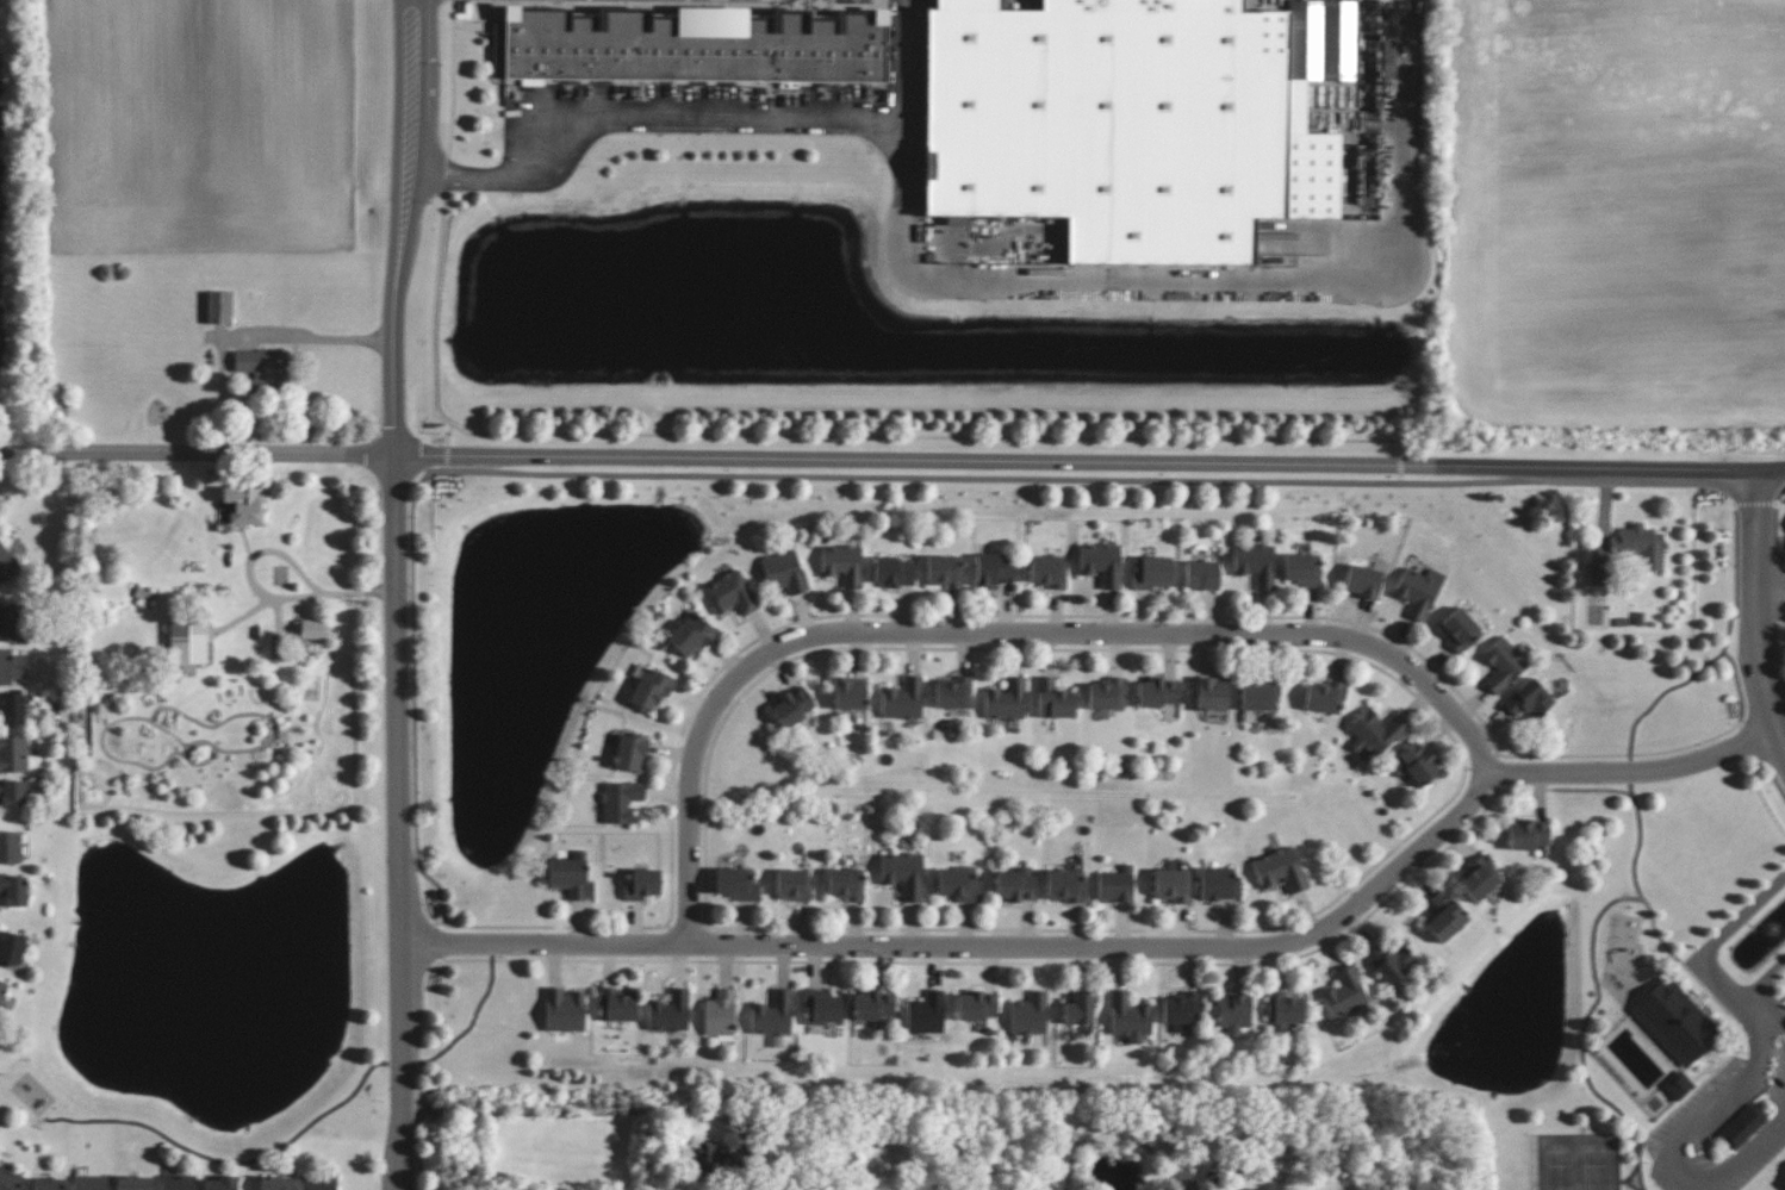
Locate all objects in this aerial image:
road: (404, 13)
road: (422, 13)
building: (696, 46)
road: (453, 89)
road: (912, 99)
road: (645, 116)
building: (1133, 120)
building: (957, 219)
road: (1249, 279)
building: (219, 307)
road: (318, 337)
building: (263, 366)
road: (803, 435)
road: (447, 449)
road: (197, 453)
road: (1077, 463)
road: (1772, 474)
road: (990, 480)
road: (1773, 485)
road: (1730, 487)
road: (1647, 488)
building: (244, 504)
building: (1640, 546)
road: (1733, 556)
building: (842, 563)
building: (1101, 563)
building: (1256, 563)
building: (6, 565)
building: (1302, 569)
building: (945, 571)
building: (994, 571)
building: (1047, 571)
building: (894, 572)
building: (1151, 572)
building: (784, 573)
building: (1202, 574)
building: (1363, 581)
road: (1774, 585)
building: (1418, 591)
road: (266, 593)
building: (730, 593)
road: (398, 606)
road: (411, 615)
road: (1762, 616)
road: (257, 618)
building: (11, 622)
building: (310, 629)
building: (1460, 630)
building: (691, 635)
road: (997, 635)
building: (188, 640)
building: (1503, 663)
building: (12, 666)
building: (649, 687)
building: (850, 692)
building: (1158, 692)
building: (954, 693)
building: (1212, 693)
building: (1108, 694)
building: (1260, 697)
building: (1325, 697)
building: (903, 699)
building: (1055, 699)
building: (1529, 699)
building: (1007, 700)
building: (794, 706)
building: (12, 708)
building: (1374, 734)
road: (1632, 735)
building: (630, 753)
building: (13, 754)
building: (1414, 764)
building: (13, 793)
building: (620, 800)
building: (1528, 834)
building: (10, 847)
building: (1281, 870)
building: (903, 873)
building: (571, 876)
road: (419, 877)
building: (1480, 878)
building: (641, 884)
building: (736, 884)
building: (846, 884)
building: (959, 884)
building: (1219, 884)
building: (794, 885)
building: (1015, 885)
building: (1065, 885)
building: (1115, 885)
building: (1173, 885)
building: (13, 890)
road: (1647, 905)
building: (1445, 917)
road: (1131, 947)
building: (11, 948)
road: (1703, 955)
building: (1391, 960)
building: (2, 989)
building: (1345, 993)
road: (1761, 1003)
building: (615, 1005)
building: (875, 1005)
building: (977, 1005)
building: (822, 1008)
building: (1080, 1009)
park: (1675, 1009)
building: (564, 1010)
building: (1183, 1010)
building: (1285, 1010)
building: (670, 1013)
building: (1234, 1013)
building: (926, 1014)
building: (1030, 1014)
building: (720, 1015)
building: (772, 1015)
building: (1130, 1017)
building: (1674, 1021)
road: (429, 1057)
building: (1678, 1085)
building: (1074, 1116)
building: (1742, 1126)
road: (1684, 1136)
building: (708, 1157)
road: (242, 1160)
road: (1641, 1167)
building: (8, 1180)
building: (178, 1182)
building: (91, 1183)
building: (220, 1183)
building: (275, 1183)
building: (318, 1183)
building: (48, 1184)

